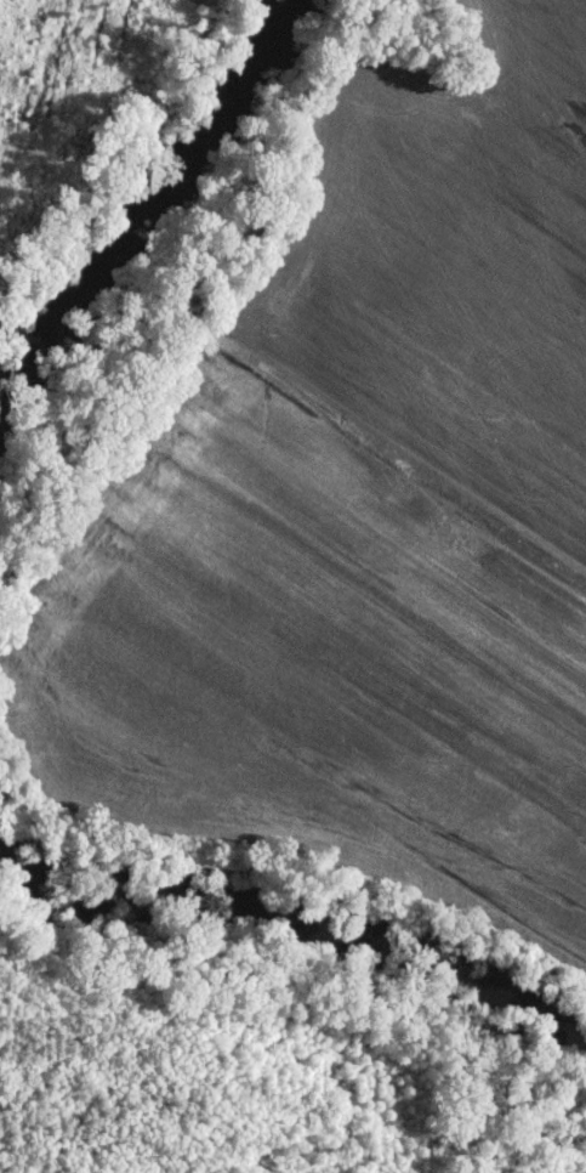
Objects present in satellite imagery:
river: (133, 183)
river: (296, 924)

